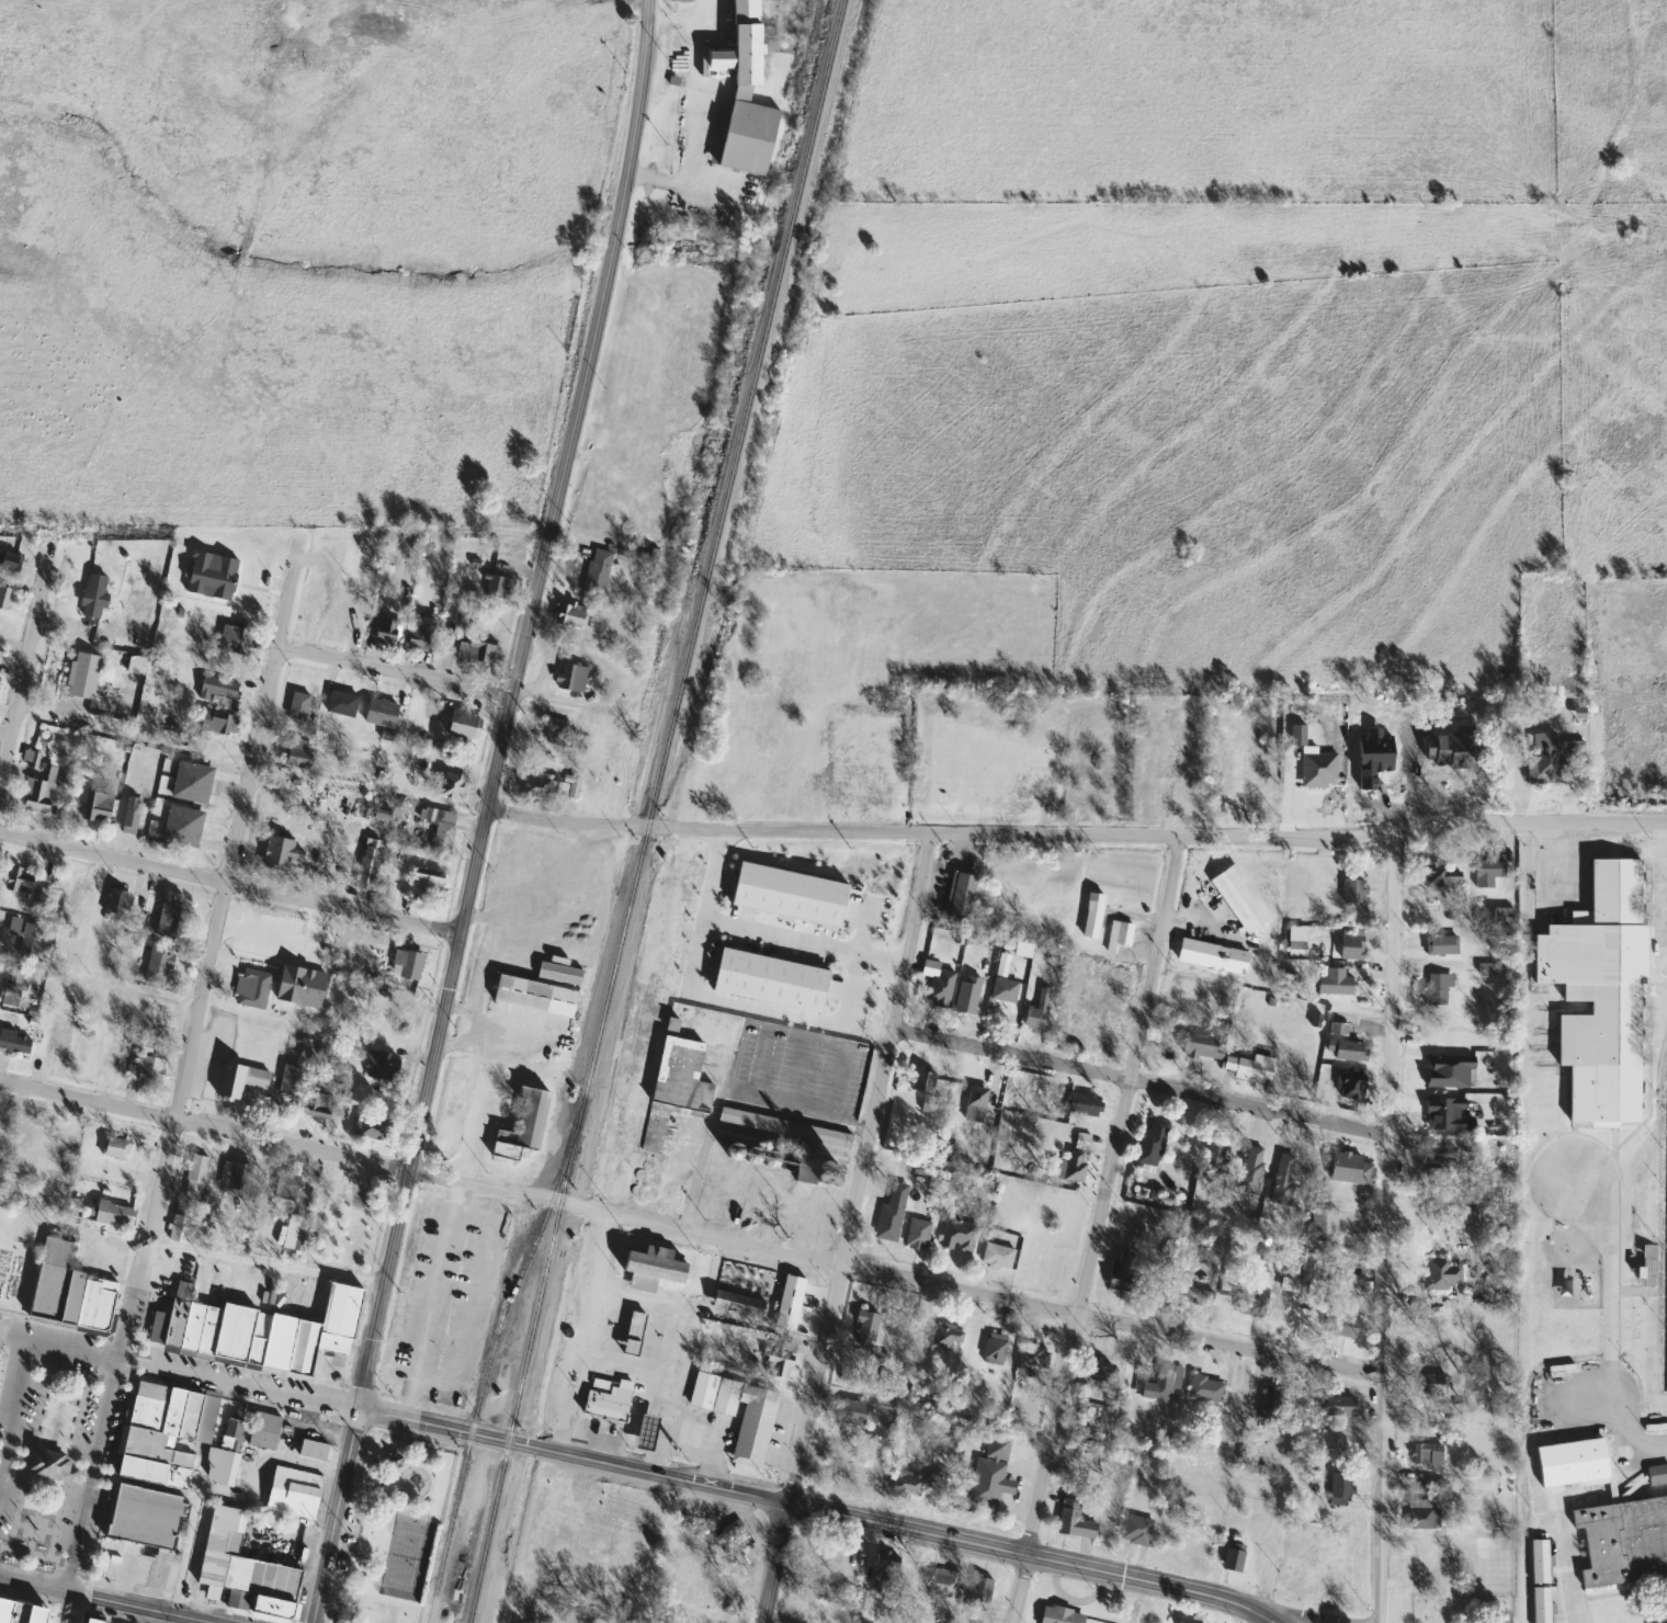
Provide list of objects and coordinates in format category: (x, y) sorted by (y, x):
building: (680, 0)
building: (740, 98)
road: (687, 107)
building: (420, 547)
railway: (713, 553)
building: (7, 561)
building: (491, 565)
building: (597, 571)
building: (199, 574)
building: (492, 587)
building: (93, 595)
building: (3, 598)
building: (567, 614)
building: (352, 624)
building: (385, 629)
building: (420, 629)
building: (744, 629)
building: (234, 640)
building: (474, 650)
road: (26, 658)
road: (394, 671)
building: (81, 676)
building: (569, 678)
building: (217, 691)
building: (340, 703)
building: (297, 705)
road: (509, 706)
building: (432, 711)
building: (379, 713)
building: (213, 723)
building: (461, 725)
building: (559, 733)
building: (296, 756)
building: (191, 783)
building: (451, 786)
building: (549, 786)
building: (34, 797)
building: (325, 801)
building: (95, 807)
building: (349, 809)
building: (129, 816)
building: (182, 827)
road: (565, 828)
building: (440, 829)
road: (1157, 837)
building: (276, 854)
road: (1572, 862)
building: (366, 865)
building: (1487, 872)
building: (1441, 876)
building: (18, 879)
road: (229, 883)
building: (424, 883)
building: (1353, 890)
building: (79, 893)
building: (46, 895)
building: (959, 896)
road: (220, 898)
building: (1239, 898)
road: (1662, 899)
building: (115, 900)
building: (705, 904)
building: (168, 915)
building: (1091, 915)
building: (1501, 916)
road: (487, 917)
road: (756, 933)
building: (1119, 933)
road: (857, 934)
building: (29, 942)
road: (284, 944)
building: (1351, 944)
building: (1440, 944)
building: (1211, 955)
building: (158, 963)
building: (409, 966)
building: (1334, 980)
road: (481, 985)
building: (250, 987)
building: (12, 988)
building: (1003, 989)
building: (1436, 989)
building: (938, 992)
building: (966, 994)
building: (1597, 994)
building: (533, 995)
road: (460, 1009)
road: (760, 1009)
building: (1036, 1011)
building: (674, 1013)
building: (396, 1021)
building: (14, 1041)
building: (55, 1041)
road: (455, 1041)
building: (1201, 1045)
building: (1346, 1051)
building: (115, 1059)
building: (382, 1065)
building: (1248, 1066)
building: (147, 1069)
building: (679, 1076)
building: (238, 1079)
building: (291, 1080)
building: (921, 1080)
road: (1141, 1082)
building: (1350, 1086)
building: (974, 1103)
building: (1081, 1104)
building: (318, 1105)
building: (930, 1105)
road: (801, 1108)
building: (522, 1126)
building: (371, 1127)
building: (784, 1127)
building: (1081, 1140)
road: (281, 1142)
building: (115, 1147)
building: (1149, 1148)
building: (1070, 1168)
building: (1345, 1168)
road: (861, 1169)
building: (804, 1170)
building: (1250, 1170)
building: (1438, 1170)
building: (234, 1176)
building: (193, 1177)
building: (1282, 1178)
track: (1665, 1180)
building: (285, 1182)
building: (356, 1196)
building: (891, 1211)
building: (111, 1212)
building: (815, 1217)
building: (1323, 1224)
road: (1385, 1226)
building: (179, 1228)
road: (1095, 1230)
building: (294, 1233)
building: (917, 1234)
building: (957, 1236)
building: (996, 1257)
road: (263, 1260)
building: (651, 1267)
building: (1300, 1268)
building: (1122, 1273)
building: (1441, 1273)
building: (1563, 1286)
building: (69, 1287)
building: (411, 1289)
road: (971, 1292)
building: (1192, 1297)
building: (458, 1301)
building: (789, 1302)
building: (736, 1303)
building: (487, 1304)
road: (677, 1308)
building: (1340, 1325)
building: (865, 1327)
building: (253, 1330)
road: (577, 1332)
building: (633, 1333)
building: (943, 1337)
road: (1603, 1337)
building: (780, 1359)
building: (877, 1359)
railway: (490, 1360)
building: (1033, 1361)
railway: (525, 1364)
road: (624, 1365)
road: (177, 1370)
building: (1100, 1372)
building: (1160, 1381)
building: (1431, 1383)
building: (1205, 1388)
road: (672, 1394)
road: (12, 1395)
building: (609, 1403)
building: (1339, 1406)
building: (1269, 1407)
building: (852, 1412)
road: (430, 1427)
building: (163, 1430)
building: (262, 1430)
building: (645, 1432)
building: (750, 1439)
building: (230, 1443)
building: (311, 1450)
building: (1426, 1454)
building: (1569, 1462)
building: (990, 1473)
road: (93, 1474)
road: (646, 1474)
building: (1657, 1475)
building: (917, 1482)
road: (1527, 1486)
building: (1340, 1488)
building: (292, 1493)
building: (1420, 1514)
road: (330, 1516)
building: (143, 1517)
building: (1073, 1521)
park: (393, 1528)
building: (1135, 1530)
building: (1620, 1540)
road: (1022, 1553)
park: (406, 1557)
building: (1228, 1558)
road: (771, 1564)
building: (242, 1570)
building: (885, 1574)
building: (943, 1584)
building: (979, 1590)
road: (105, 1600)
road: (66, 1608)
park: (1463, 1609)
park: (384, 1611)
building: (20, 1612)
building: (1058, 1615)
road: (1296, 1615)
road: (1256, 1616)
road: (1267, 1616)
building: (91, 1621)
building: (1187, 1621)

